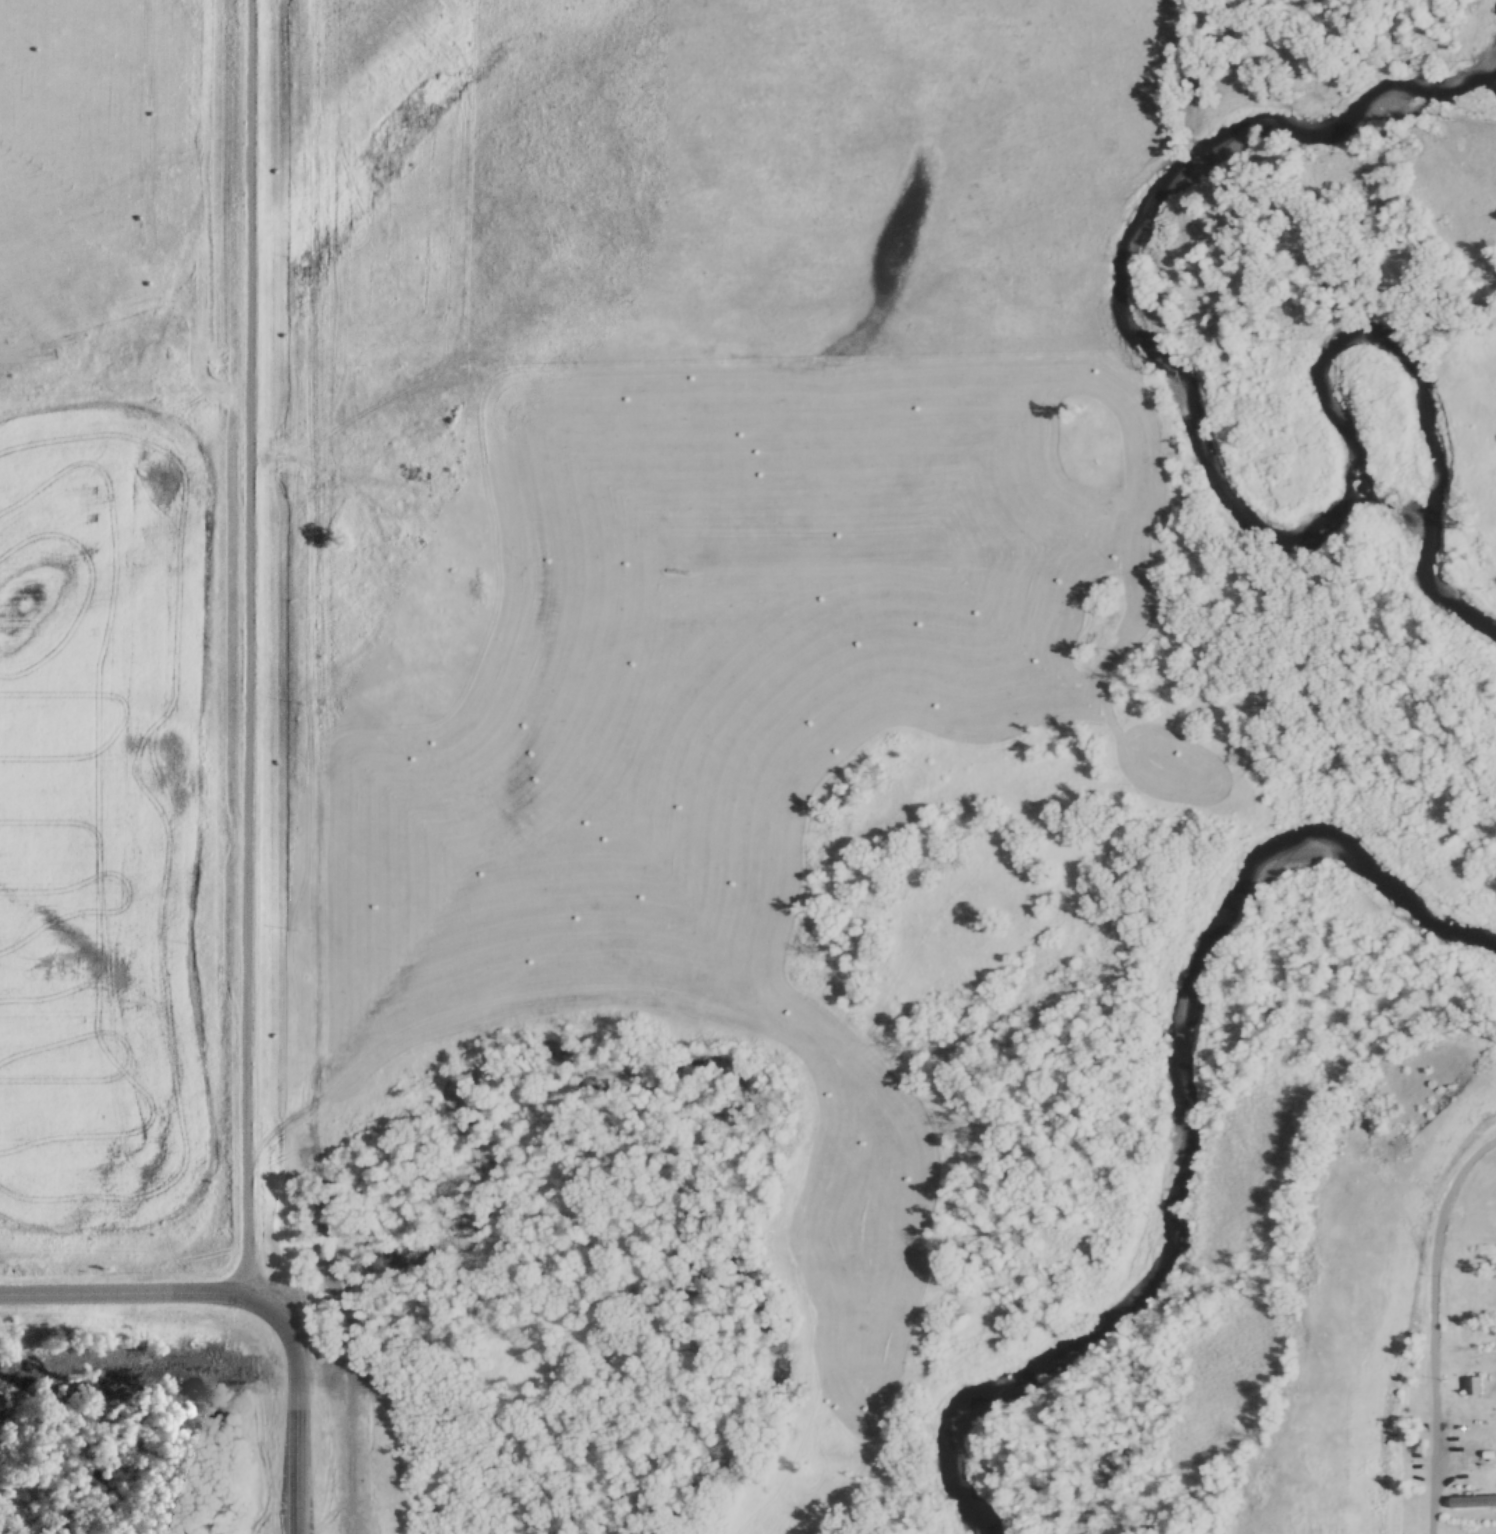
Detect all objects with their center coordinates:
river: (1217, 467)
road: (298, 650)
river: (1183, 1076)
road: (149, 1302)
building: (1478, 1387)
road: (297, 1417)
building: (1479, 1455)

